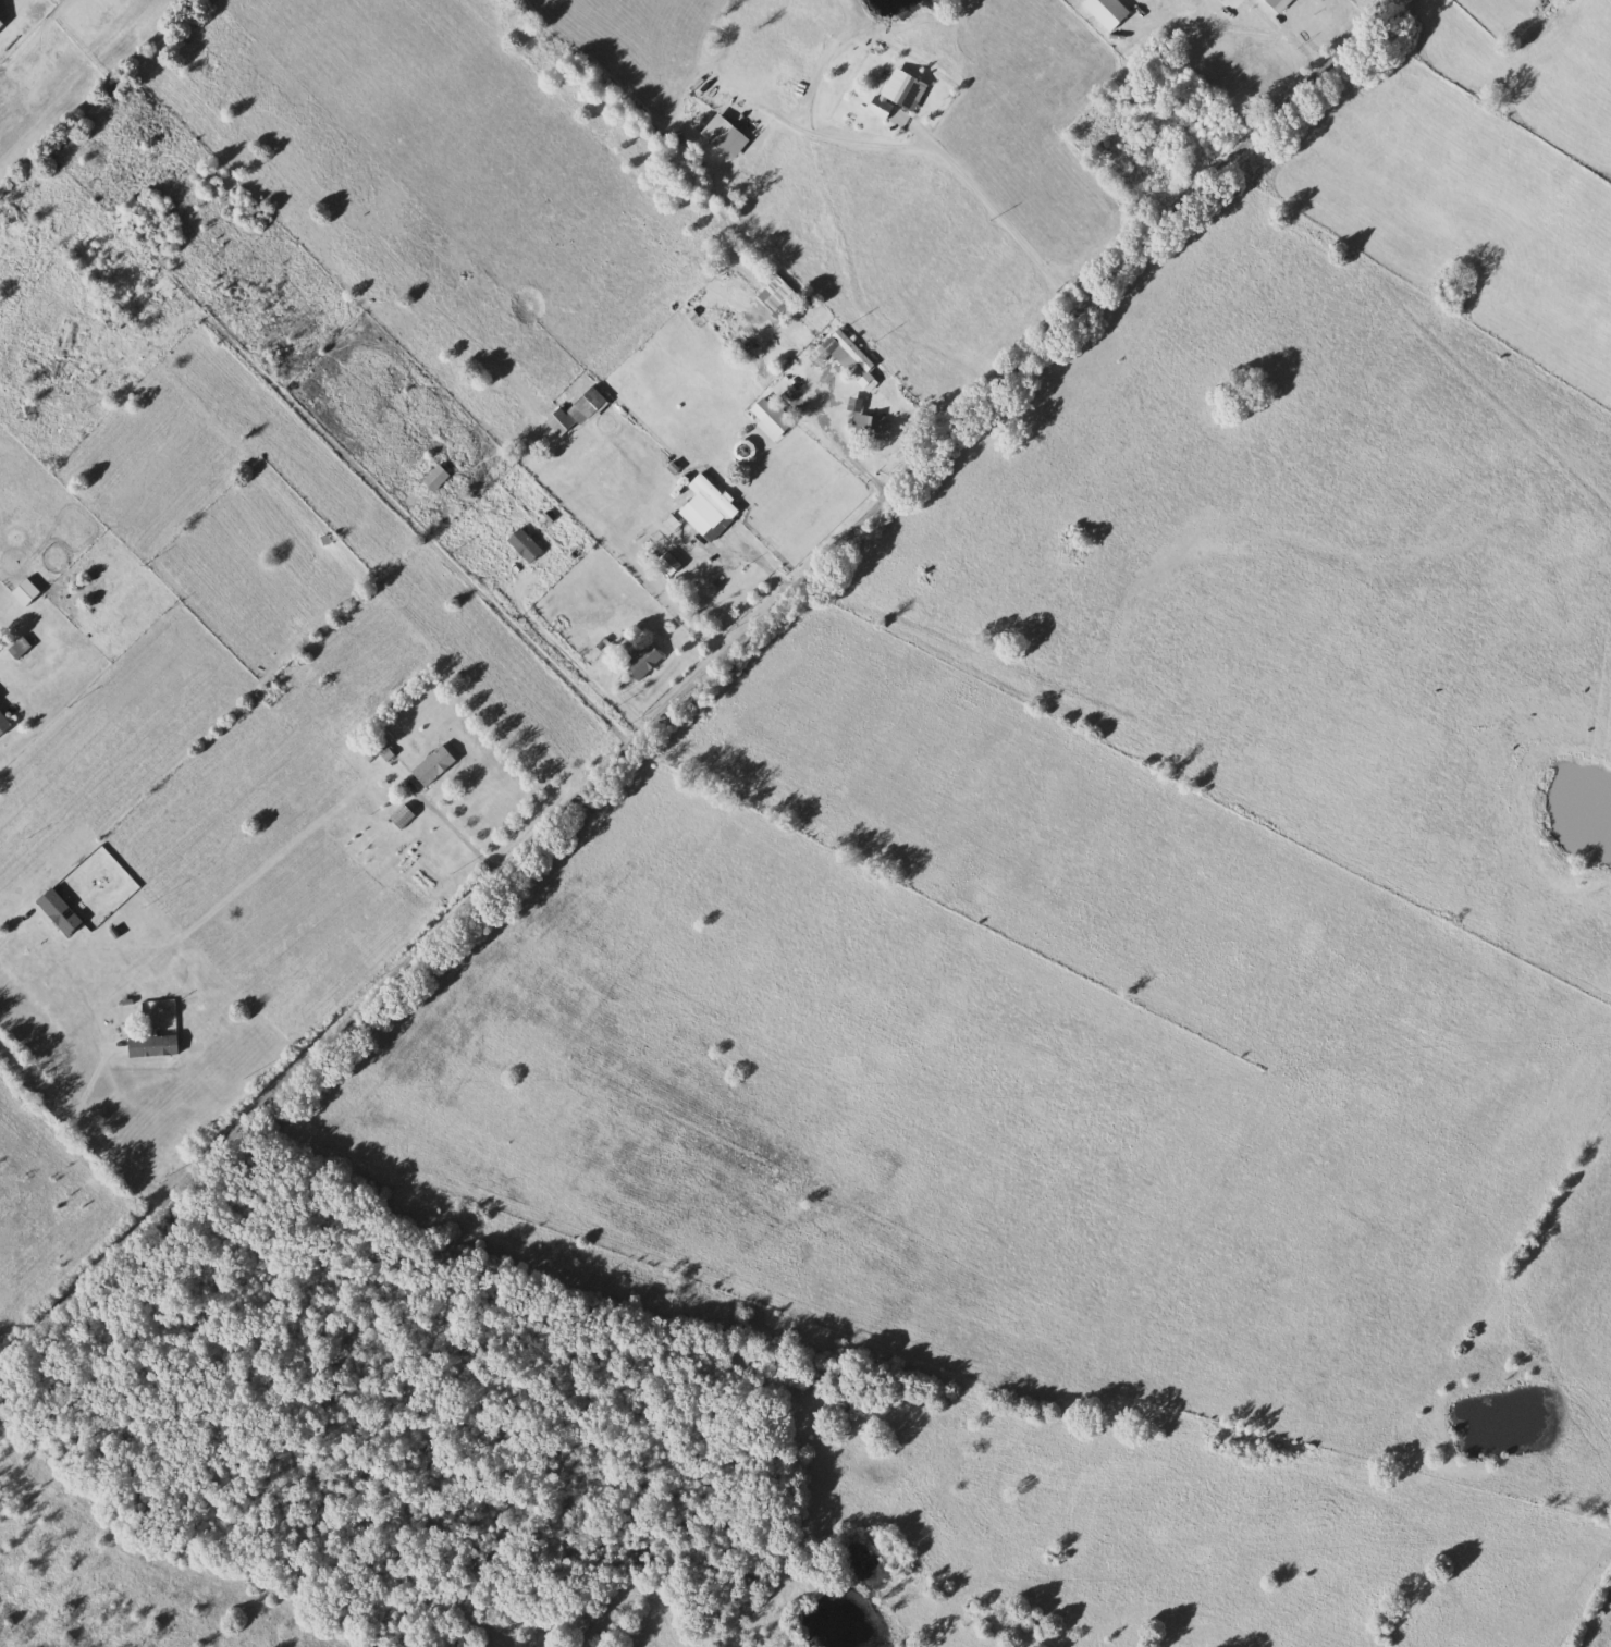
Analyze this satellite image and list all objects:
road: (1246, 26)
building: (900, 91)
building: (1127, 96)
building: (726, 134)
road: (1007, 220)
building: (161, 291)
building: (67, 337)
building: (52, 366)
building: (836, 376)
building: (777, 380)
building: (770, 414)
building: (565, 425)
building: (745, 450)
road: (848, 453)
building: (436, 477)
road: (384, 495)
building: (708, 508)
building: (524, 542)
building: (28, 591)
building: (644, 660)
road: (589, 676)
road: (698, 679)
building: (4, 722)
building: (434, 764)
building: (404, 815)
road: (453, 822)
road: (14, 933)
building: (155, 1045)
road: (95, 1077)
road: (81, 1120)

